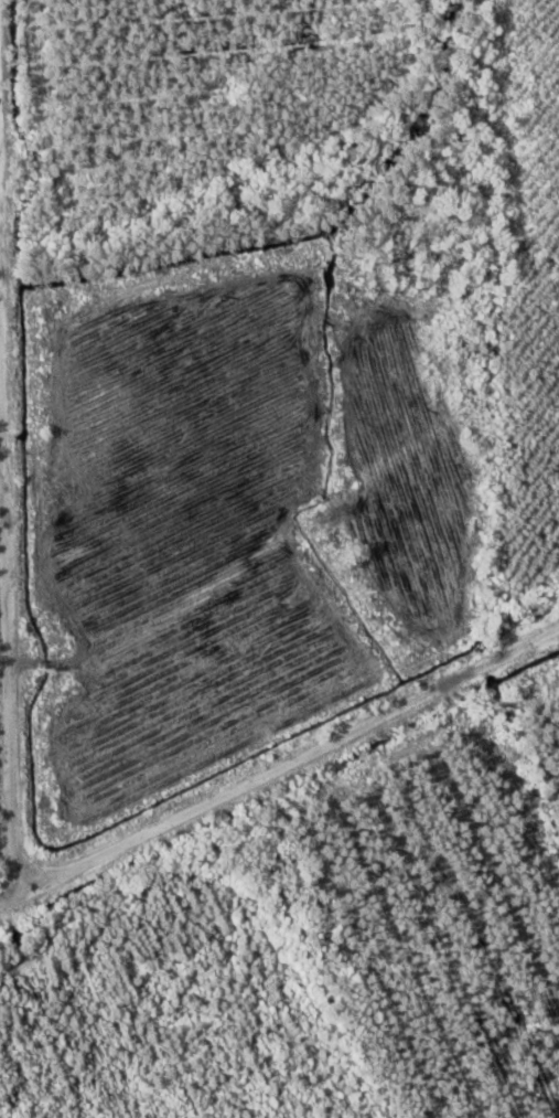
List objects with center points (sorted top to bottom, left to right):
road: (12, 683)
road: (280, 773)

